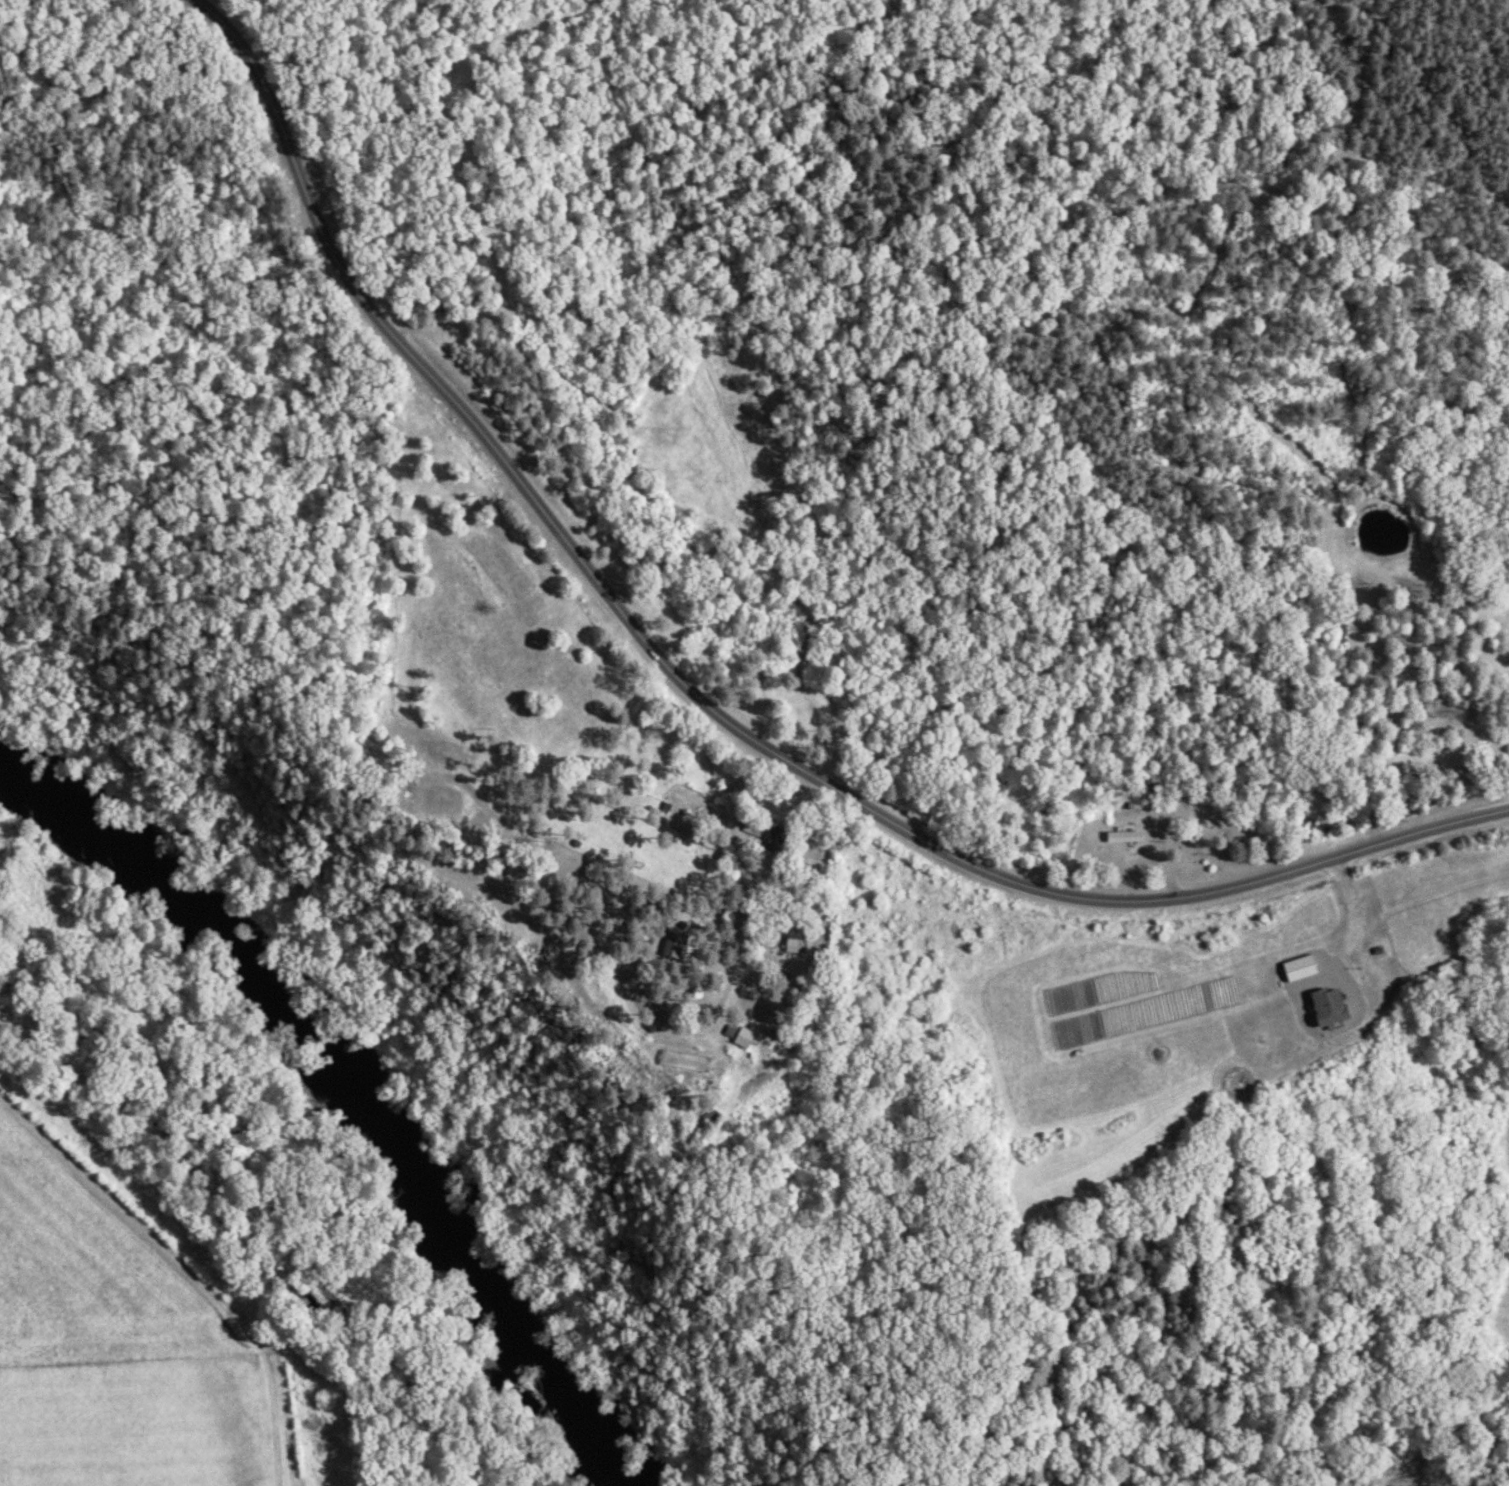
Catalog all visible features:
road: (457, 414)
building: (1128, 836)
road: (1421, 886)
road: (1151, 897)
road: (1345, 934)
building: (798, 945)
building: (1303, 968)
building: (1336, 1006)
road: (713, 1011)
building: (743, 1035)
river: (350, 1082)

